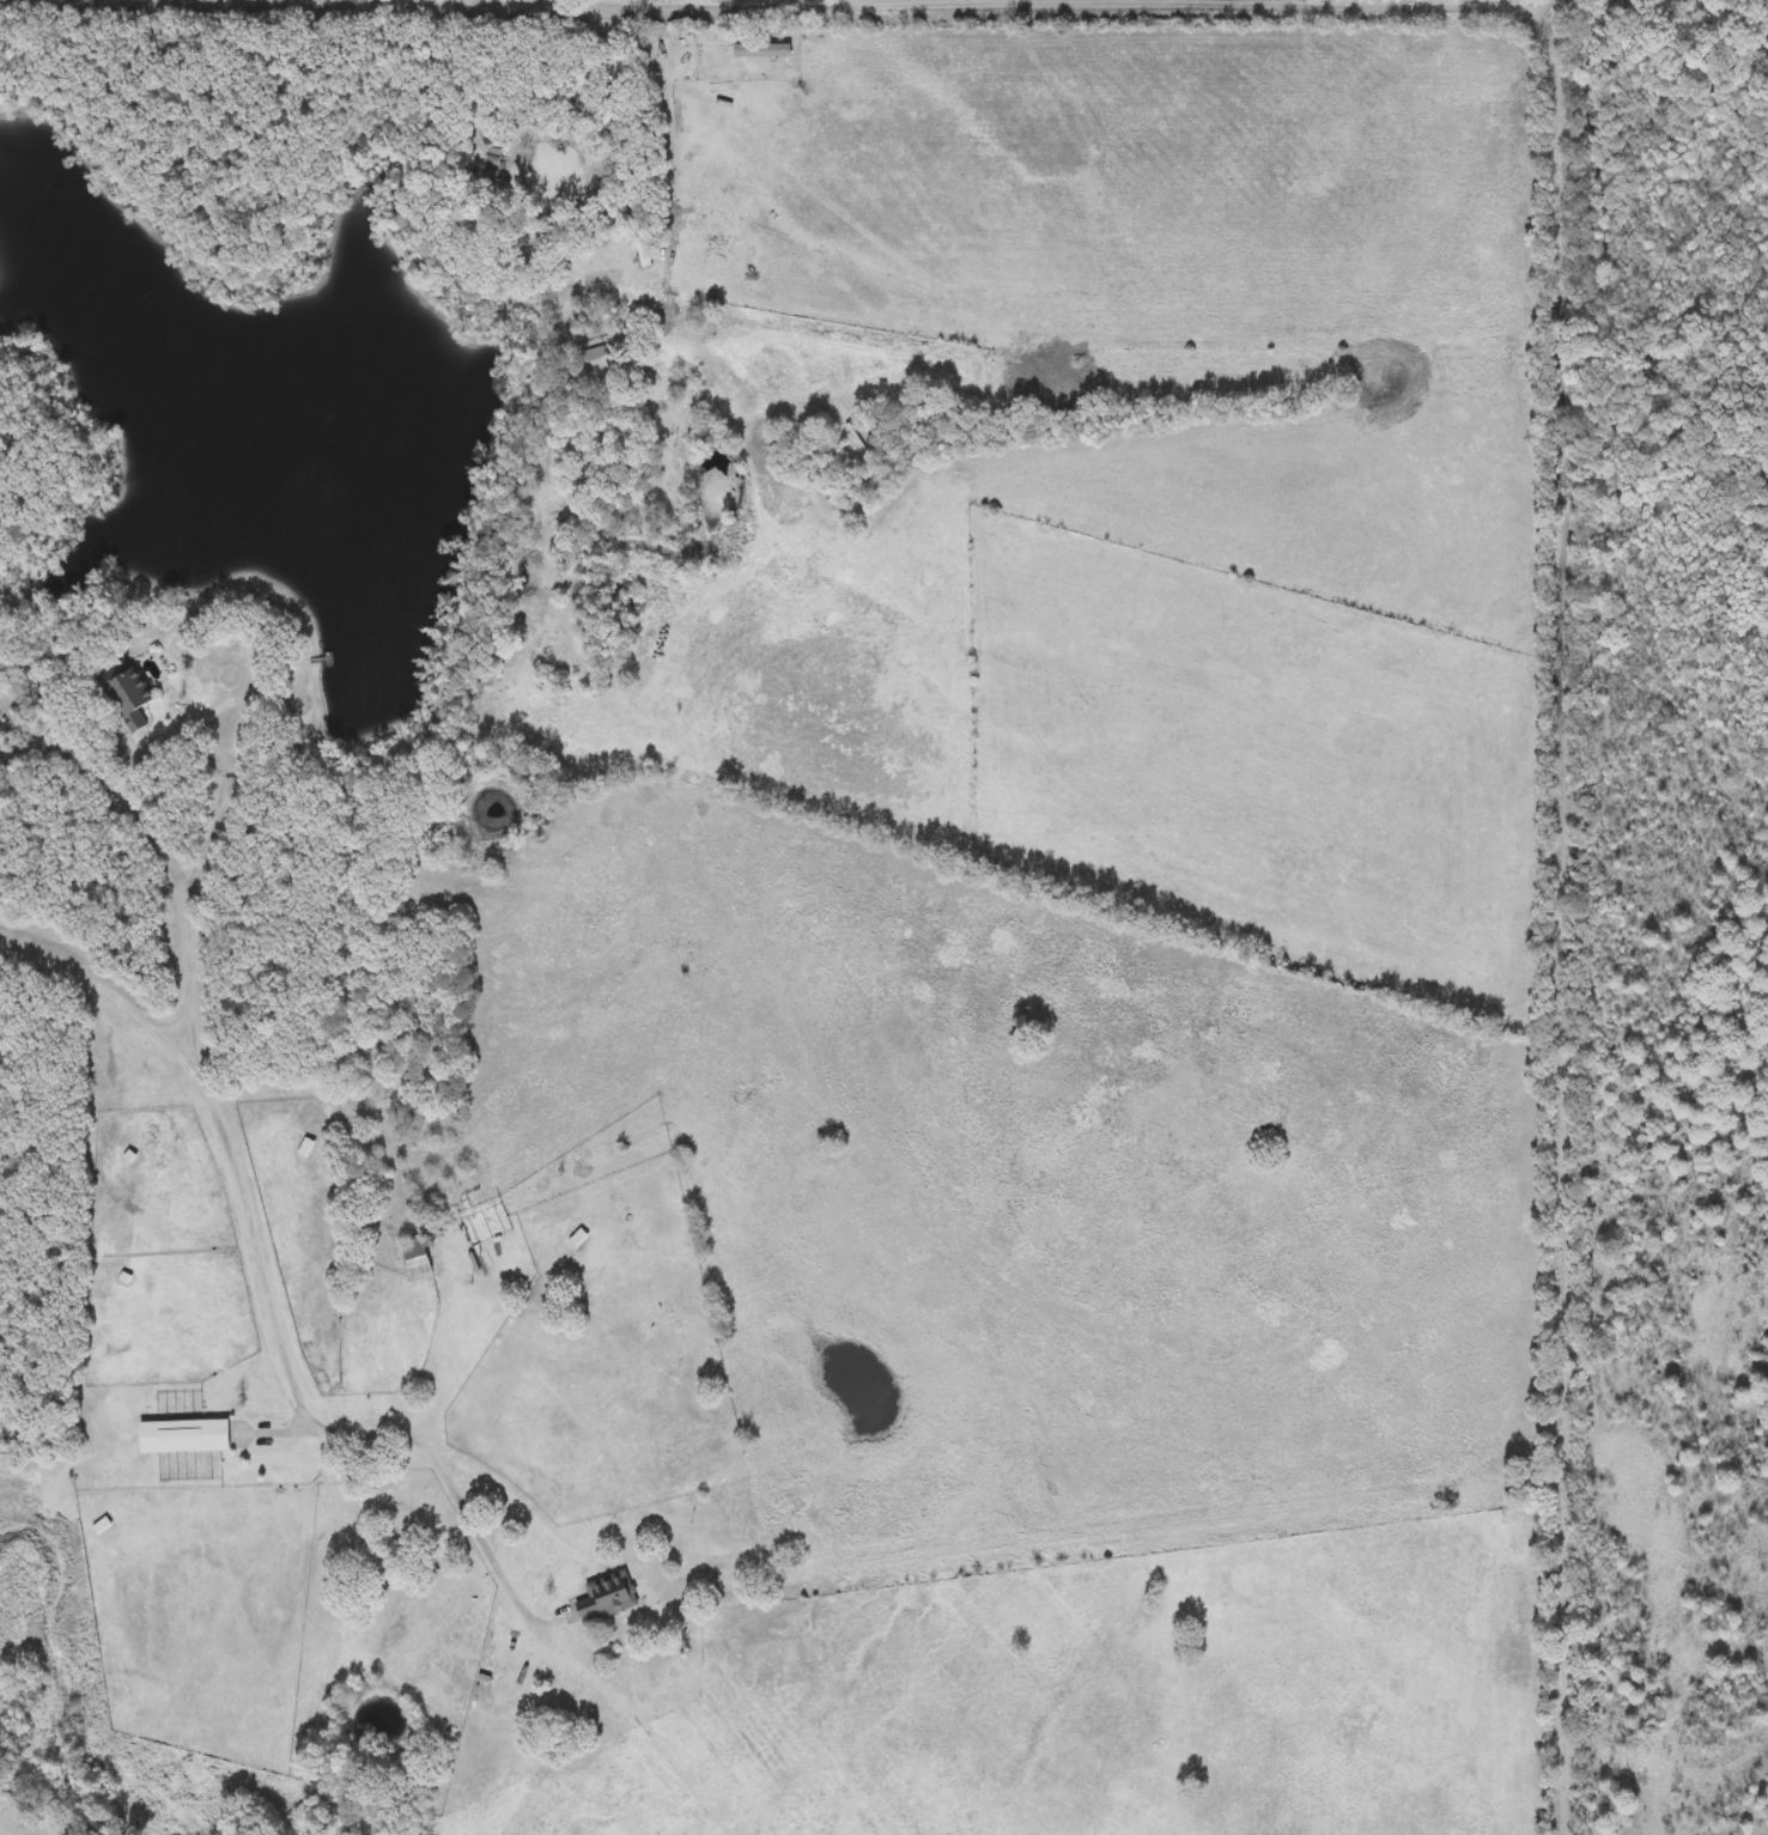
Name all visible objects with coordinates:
road: (789, 2)
road: (764, 4)
building: (764, 49)
building: (679, 115)
building: (694, 148)
building: (547, 165)
road: (663, 180)
building: (642, 247)
building: (593, 365)
road: (1563, 687)
building: (128, 695)
road: (117, 790)
road: (241, 1178)
building: (417, 1257)
road: (464, 1360)
building: (189, 1436)
building: (105, 1526)
road: (482, 1536)
dam: (7, 1554)
building: (608, 1597)
road: (303, 1737)

